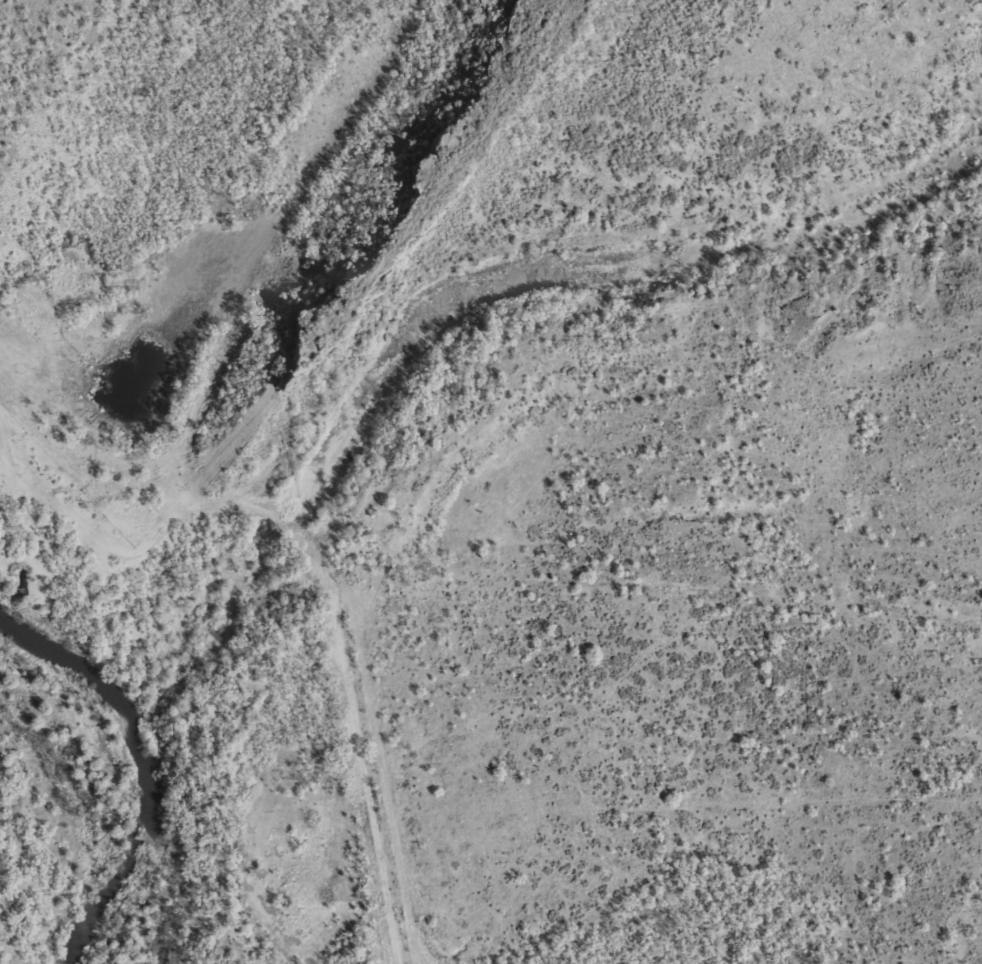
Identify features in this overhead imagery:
road: (650, 574)
river: (137, 771)

